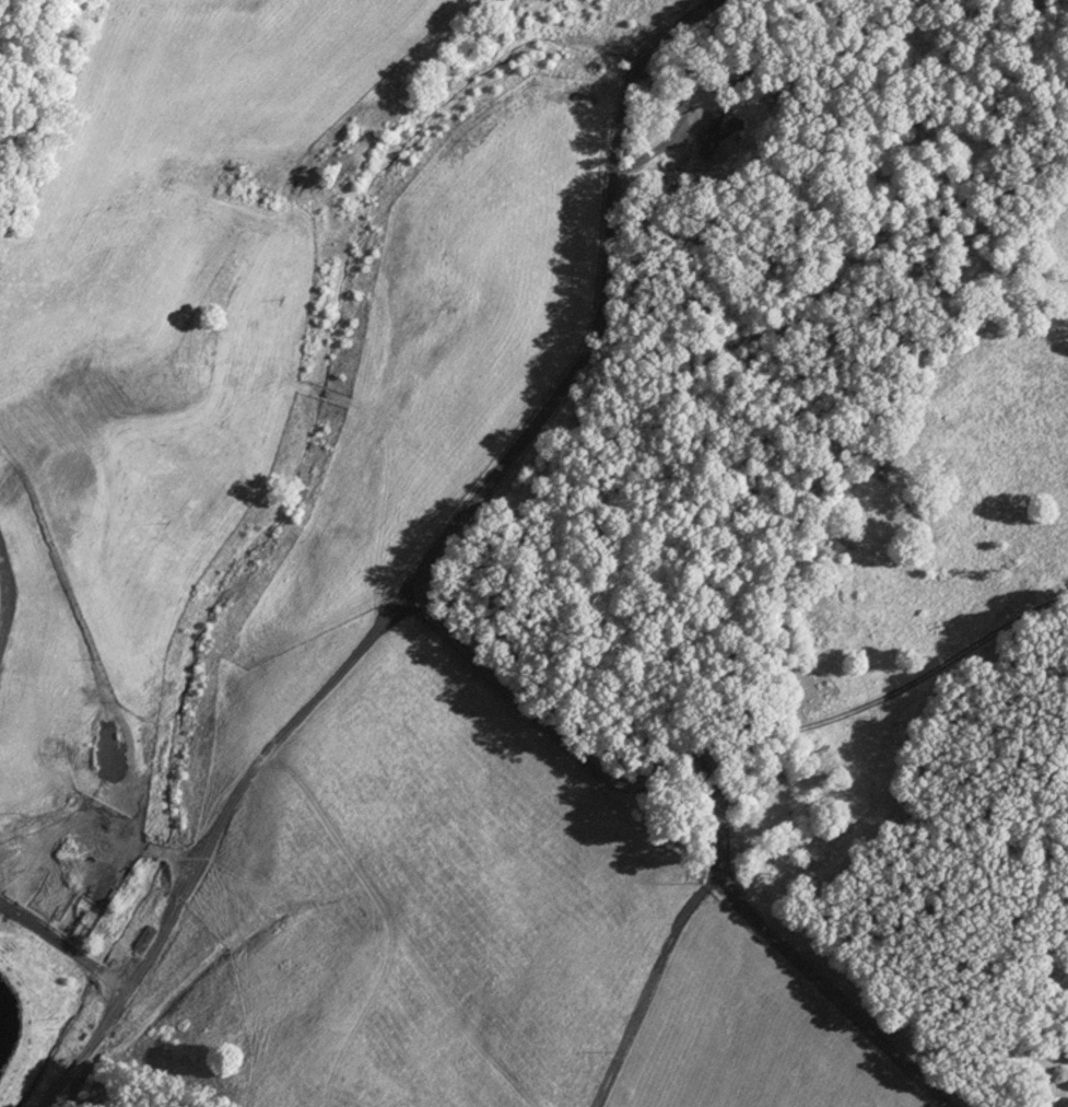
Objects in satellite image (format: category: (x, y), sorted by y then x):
road: (579, 303)
road: (648, 725)
road: (213, 836)
road: (655, 989)
road: (846, 1005)

